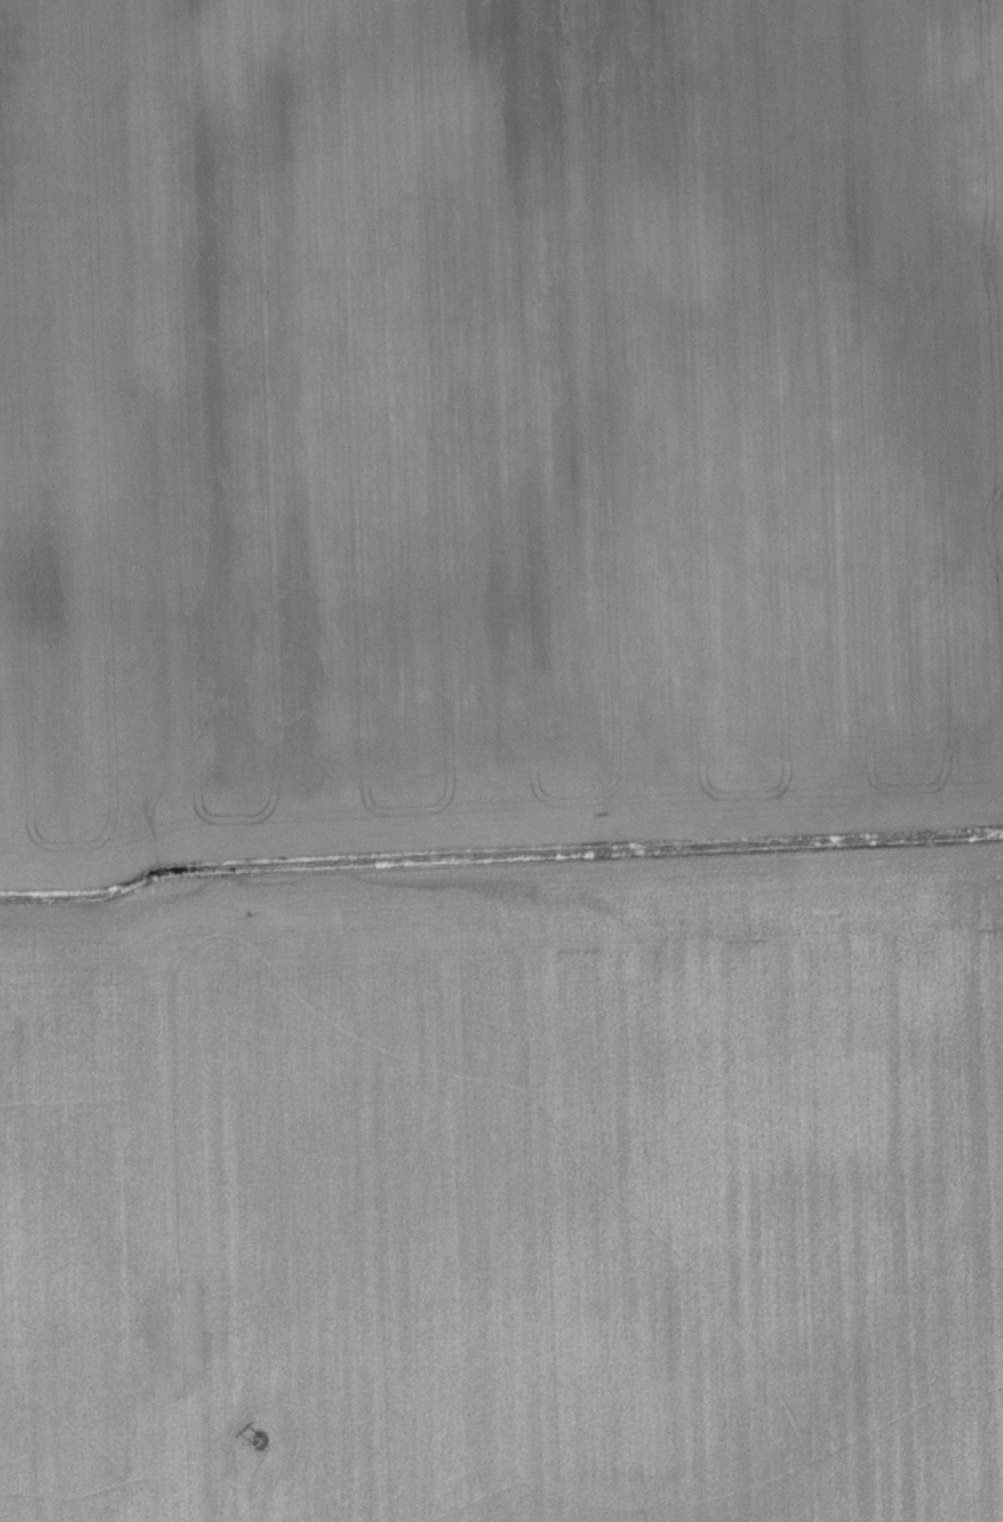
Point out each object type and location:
power tower: (264, 1438)

